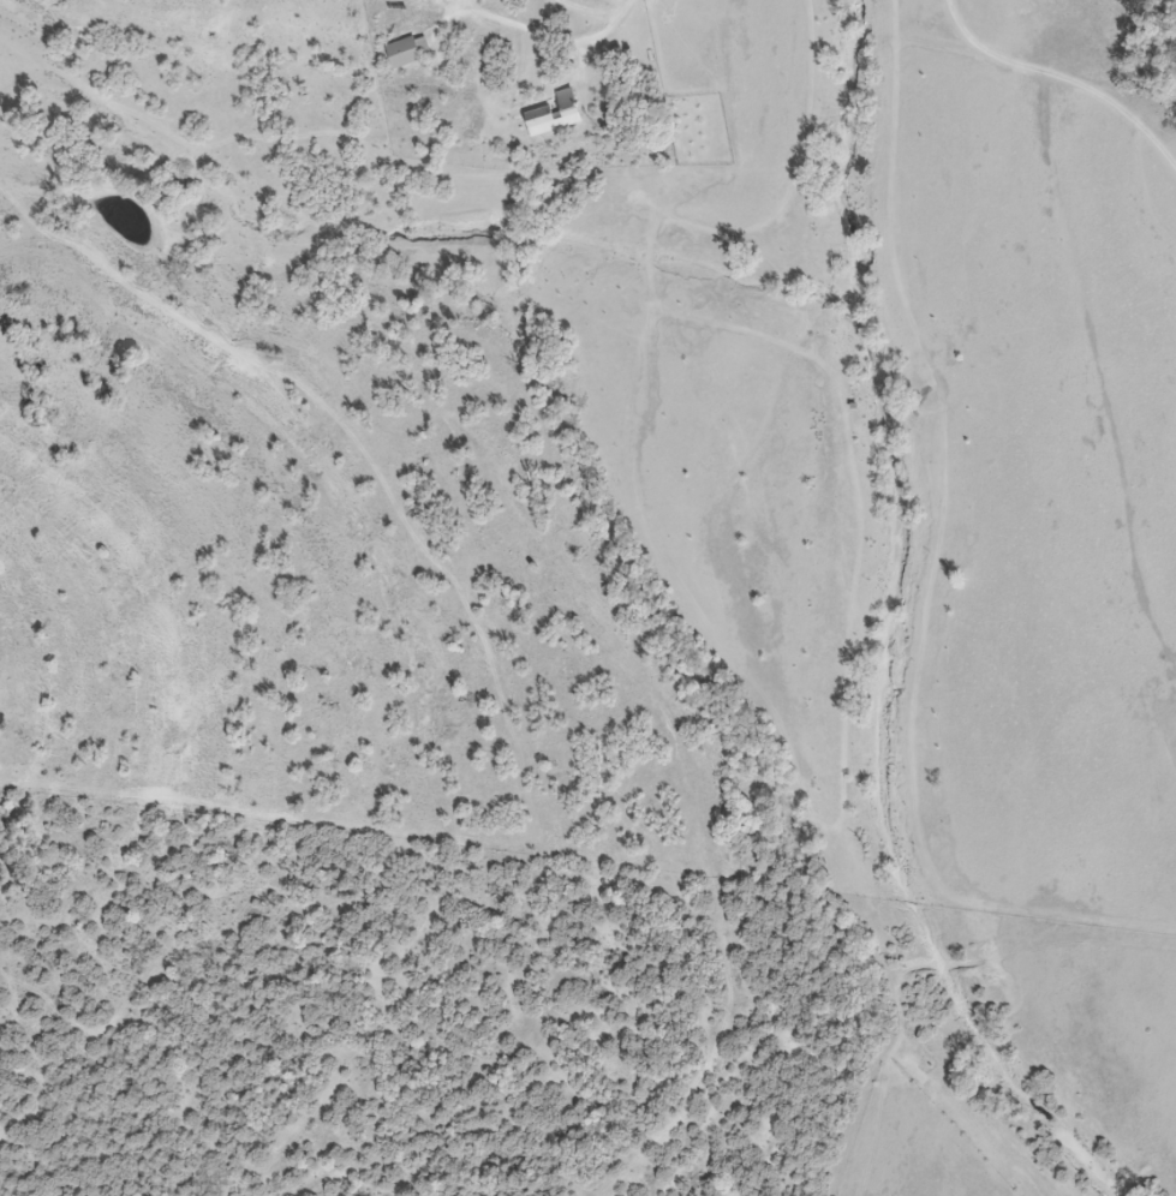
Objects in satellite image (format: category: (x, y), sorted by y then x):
road: (557, 37)
building: (405, 52)
road: (1063, 78)
building: (553, 114)

